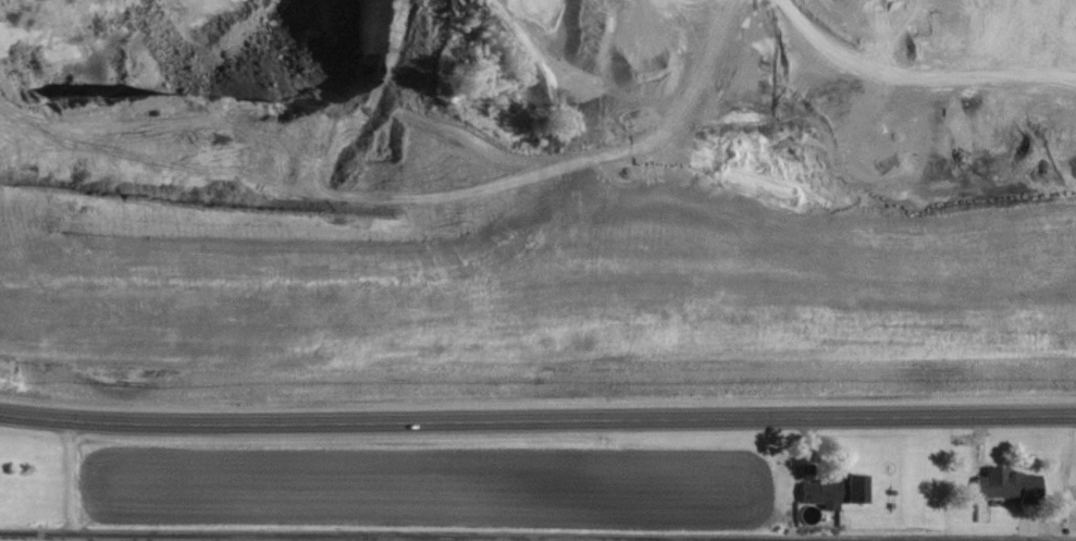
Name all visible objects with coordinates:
road: (537, 422)
road: (65, 476)
building: (989, 481)
building: (1026, 482)
building: (848, 488)
building: (815, 491)
road: (381, 536)
road: (257, 538)

